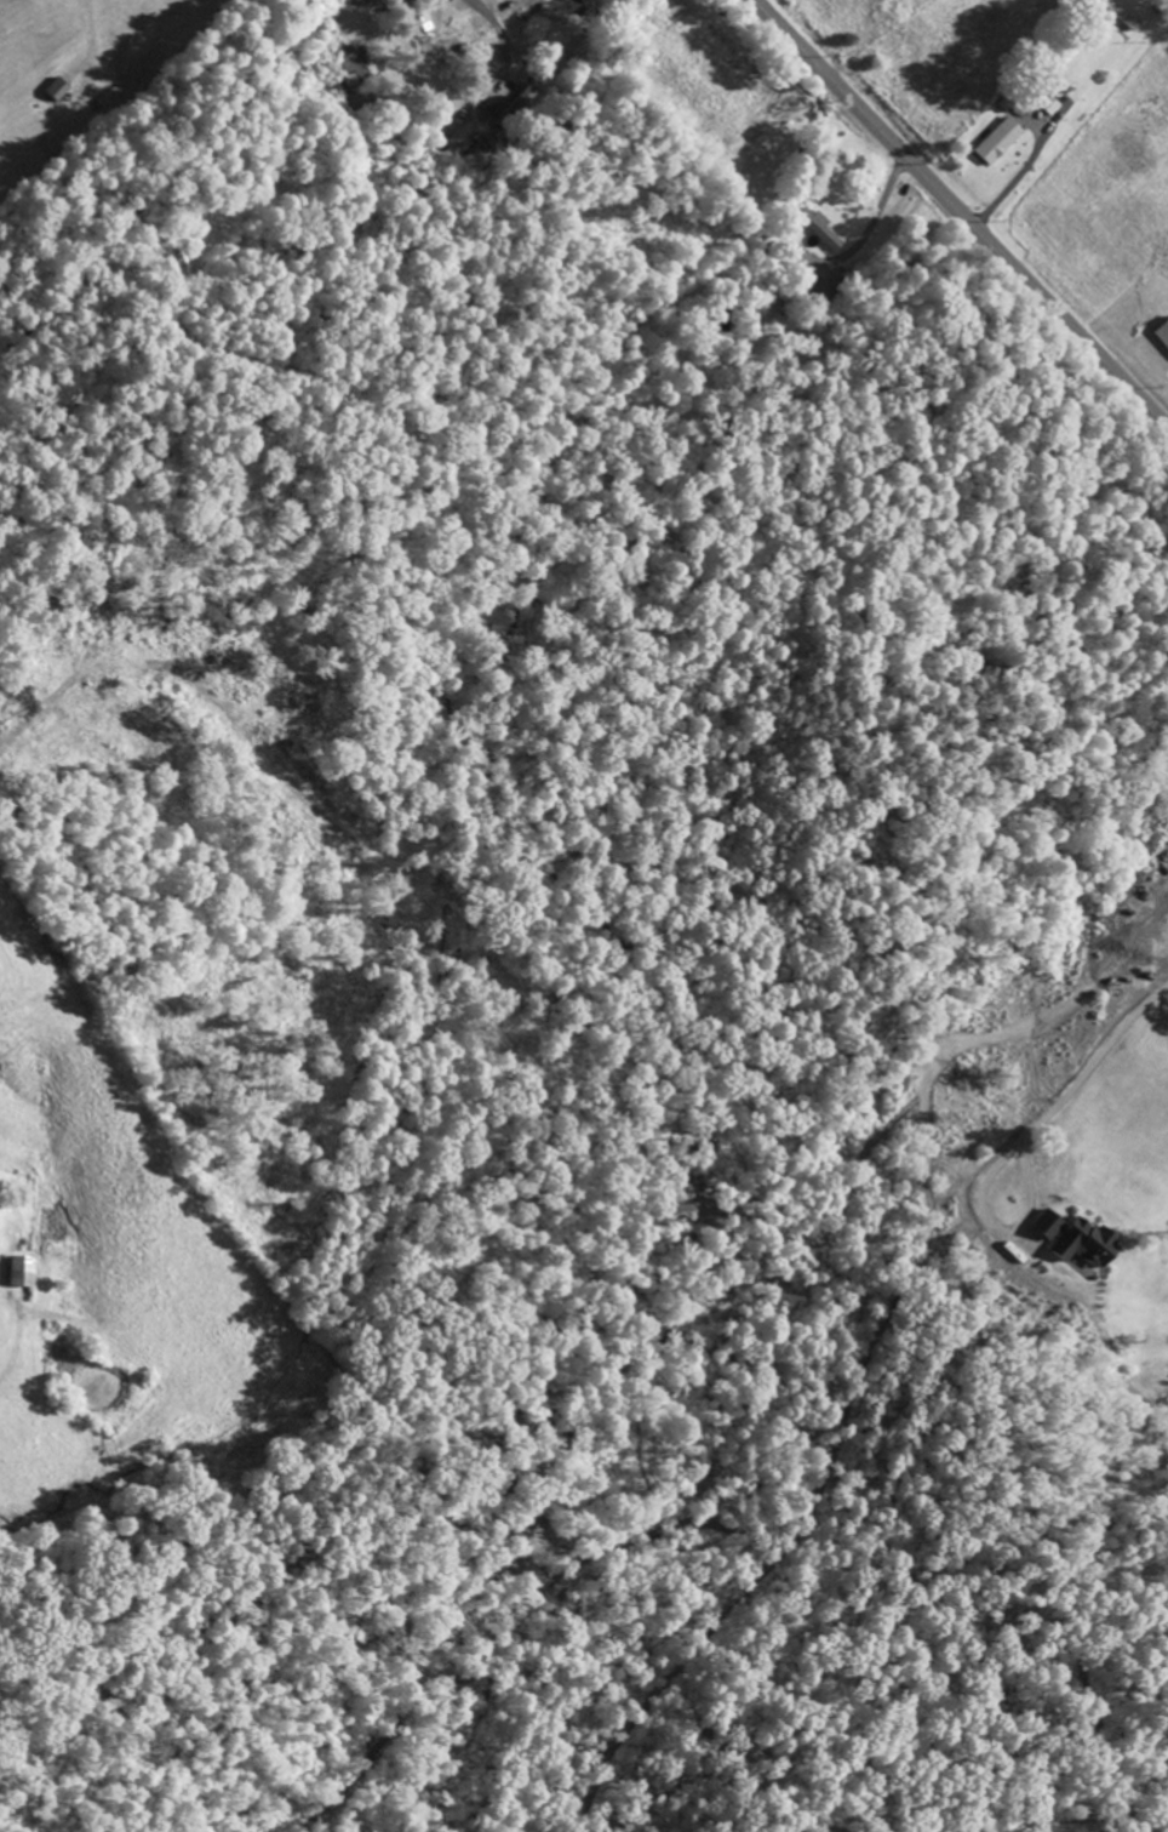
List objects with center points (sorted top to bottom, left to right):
building: (350, 69)
building: (59, 91)
building: (515, 109)
building: (1000, 142)
road: (957, 216)
building: (823, 235)
building: (1163, 336)
building: (1050, 1227)
building: (1089, 1246)
building: (25, 1274)

